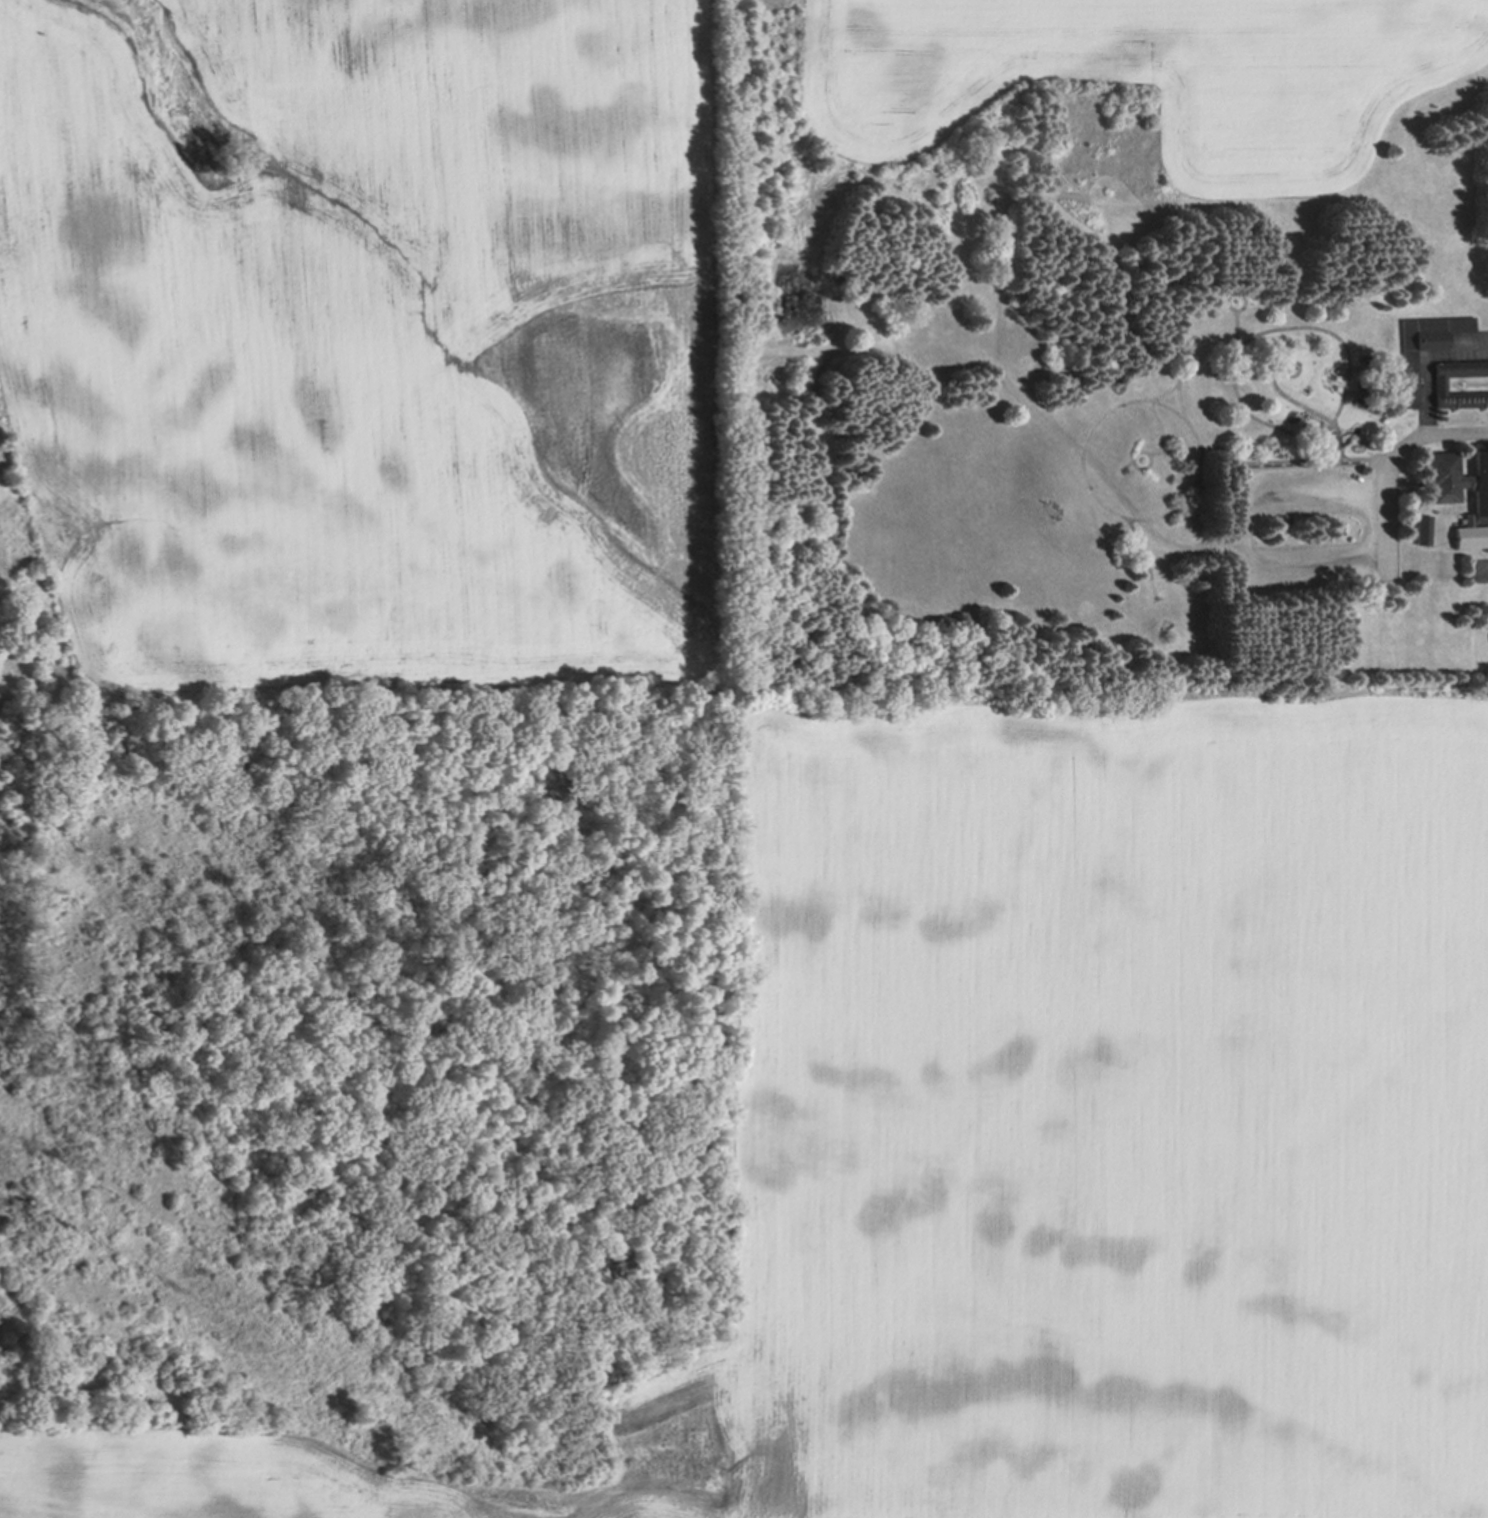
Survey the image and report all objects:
building: (1419, 346)
road: (1423, 363)
building: (1440, 385)
road: (1388, 463)
building: (1459, 478)
building: (1420, 527)
building: (1469, 533)
building: (1481, 673)

